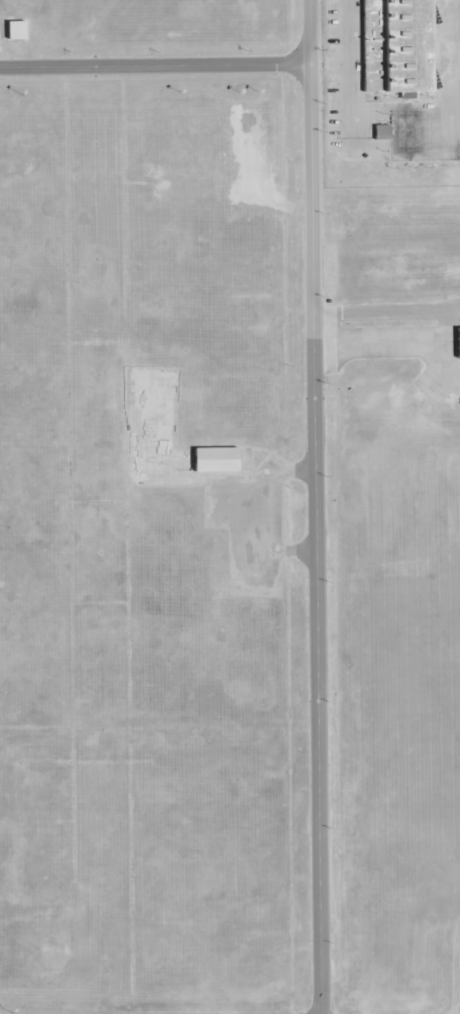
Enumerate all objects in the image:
building: (397, 46)
airport apron: (397, 56)
road: (154, 67)
airport: (396, 78)
building: (458, 343)
building: (213, 460)
road: (314, 507)

